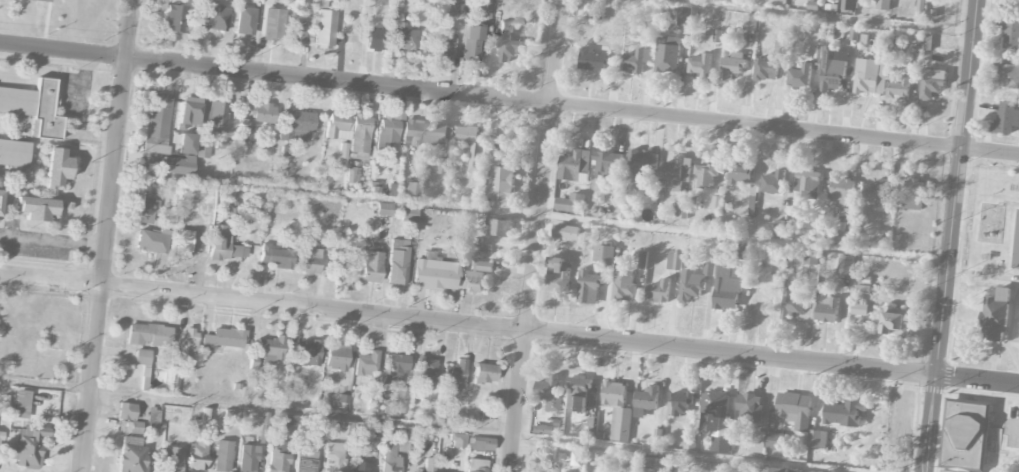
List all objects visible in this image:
building: (39, 0)
building: (460, 0)
building: (883, 5)
building: (847, 6)
building: (484, 12)
building: (214, 16)
road: (820, 16)
building: (684, 17)
building: (175, 18)
building: (245, 20)
building: (750, 23)
road: (46, 24)
building: (273, 24)
building: (325, 28)
building: (296, 30)
building: (1011, 36)
building: (406, 38)
building: (375, 39)
building: (506, 42)
building: (471, 43)
building: (880, 46)
building: (445, 47)
building: (667, 55)
building: (591, 60)
building: (636, 60)
building: (699, 66)
building: (732, 66)
building: (766, 70)
building: (831, 71)
building: (1008, 74)
building: (799, 77)
building: (870, 77)
road: (84, 82)
building: (932, 83)
building: (899, 89)
road: (509, 100)
building: (34, 107)
building: (188, 112)
building: (263, 113)
building: (213, 116)
building: (1006, 119)
building: (158, 123)
building: (297, 126)
building: (338, 126)
building: (244, 127)
building: (390, 133)
building: (411, 133)
building: (438, 136)
building: (359, 137)
building: (186, 143)
building: (473, 147)
building: (202, 150)
building: (14, 153)
building: (607, 164)
building: (178, 165)
building: (57, 167)
building: (444, 167)
building: (575, 167)
building: (642, 168)
building: (740, 172)
building: (352, 175)
building: (675, 175)
building: (705, 175)
building: (773, 183)
building: (502, 185)
building: (807, 185)
building: (0, 187)
building: (410, 190)
building: (842, 190)
building: (875, 192)
building: (914, 195)
building: (716, 203)
building: (570, 204)
building: (752, 206)
building: (147, 207)
building: (36, 208)
building: (384, 209)
building: (681, 210)
building: (409, 214)
road: (531, 215)
building: (501, 228)
building: (780, 229)
building: (565, 232)
road: (950, 235)
road: (108, 236)
road: (537, 236)
building: (844, 238)
building: (182, 239)
building: (152, 241)
road: (53, 242)
building: (225, 245)
building: (1016, 245)
building: (745, 252)
building: (604, 256)
building: (277, 257)
building: (810, 258)
building: (309, 259)
building: (639, 260)
building: (368, 262)
building: (396, 262)
building: (674, 262)
building: (845, 265)
building: (435, 274)
building: (558, 275)
building: (478, 278)
building: (695, 283)
building: (624, 287)
building: (589, 288)
building: (727, 288)
building: (659, 292)
building: (792, 303)
building: (827, 309)
building: (859, 310)
building: (995, 316)
building: (896, 322)
road: (509, 329)
building: (223, 338)
building: (187, 344)
building: (270, 349)
building: (307, 353)
building: (142, 357)
building: (336, 357)
building: (367, 363)
building: (395, 369)
building: (148, 371)
building: (485, 372)
building: (425, 373)
building: (455, 373)
building: (579, 393)
building: (549, 394)
building: (614, 394)
building: (402, 399)
building: (646, 401)
building: (679, 405)
building: (749, 408)
building: (794, 410)
building: (126, 411)
building: (154, 414)
building: (844, 414)
building: (717, 421)
road: (421, 425)
building: (620, 425)
building: (344, 429)
building: (536, 429)
building: (374, 430)
building: (965, 437)
building: (458, 440)
building: (817, 440)
building: (774, 441)
building: (758, 442)
building: (481, 444)
building: (27, 447)
building: (197, 454)
building: (131, 455)
building: (223, 456)
building: (277, 457)
building: (334, 457)
building: (247, 458)
building: (173, 459)
building: (389, 459)
building: (305, 461)
building: (428, 465)
building: (476, 465)
building: (657, 465)
building: (361, 467)
building: (779, 470)
building: (800, 471)

